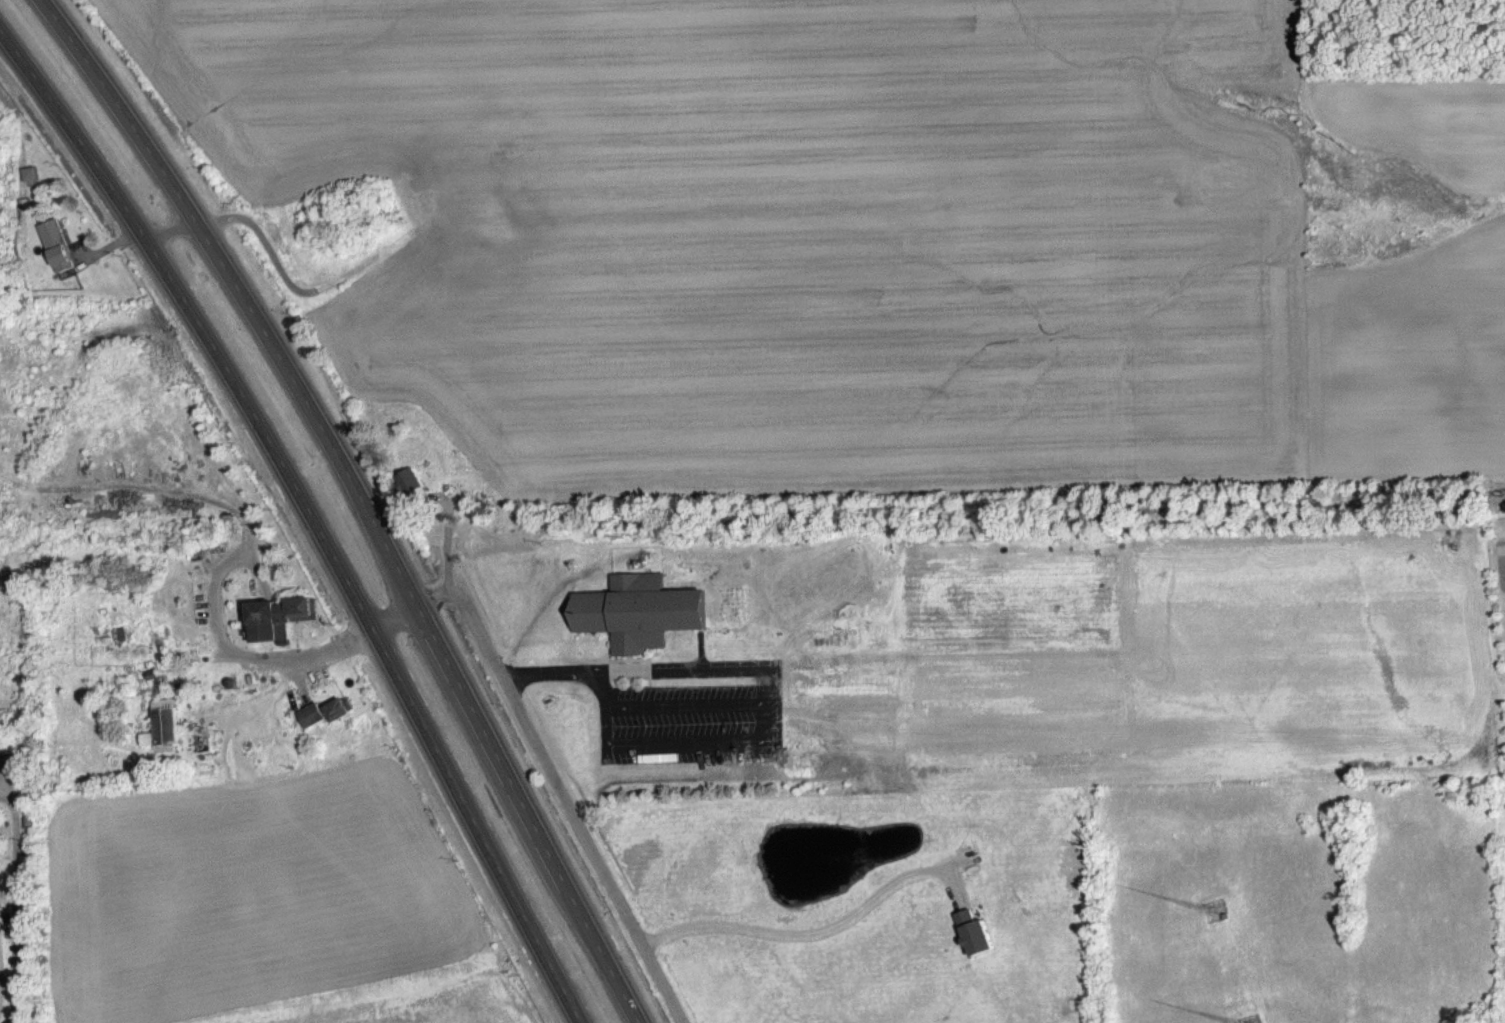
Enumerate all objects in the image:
building: (57, 257)
building: (409, 492)
road: (359, 501)
road: (313, 513)
building: (638, 623)
building: (280, 630)
road: (483, 637)
road: (545, 671)
road: (764, 697)
building: (338, 721)
building: (311, 726)
building: (163, 738)
road: (680, 742)
road: (15, 902)
road: (817, 929)
building: (974, 945)

